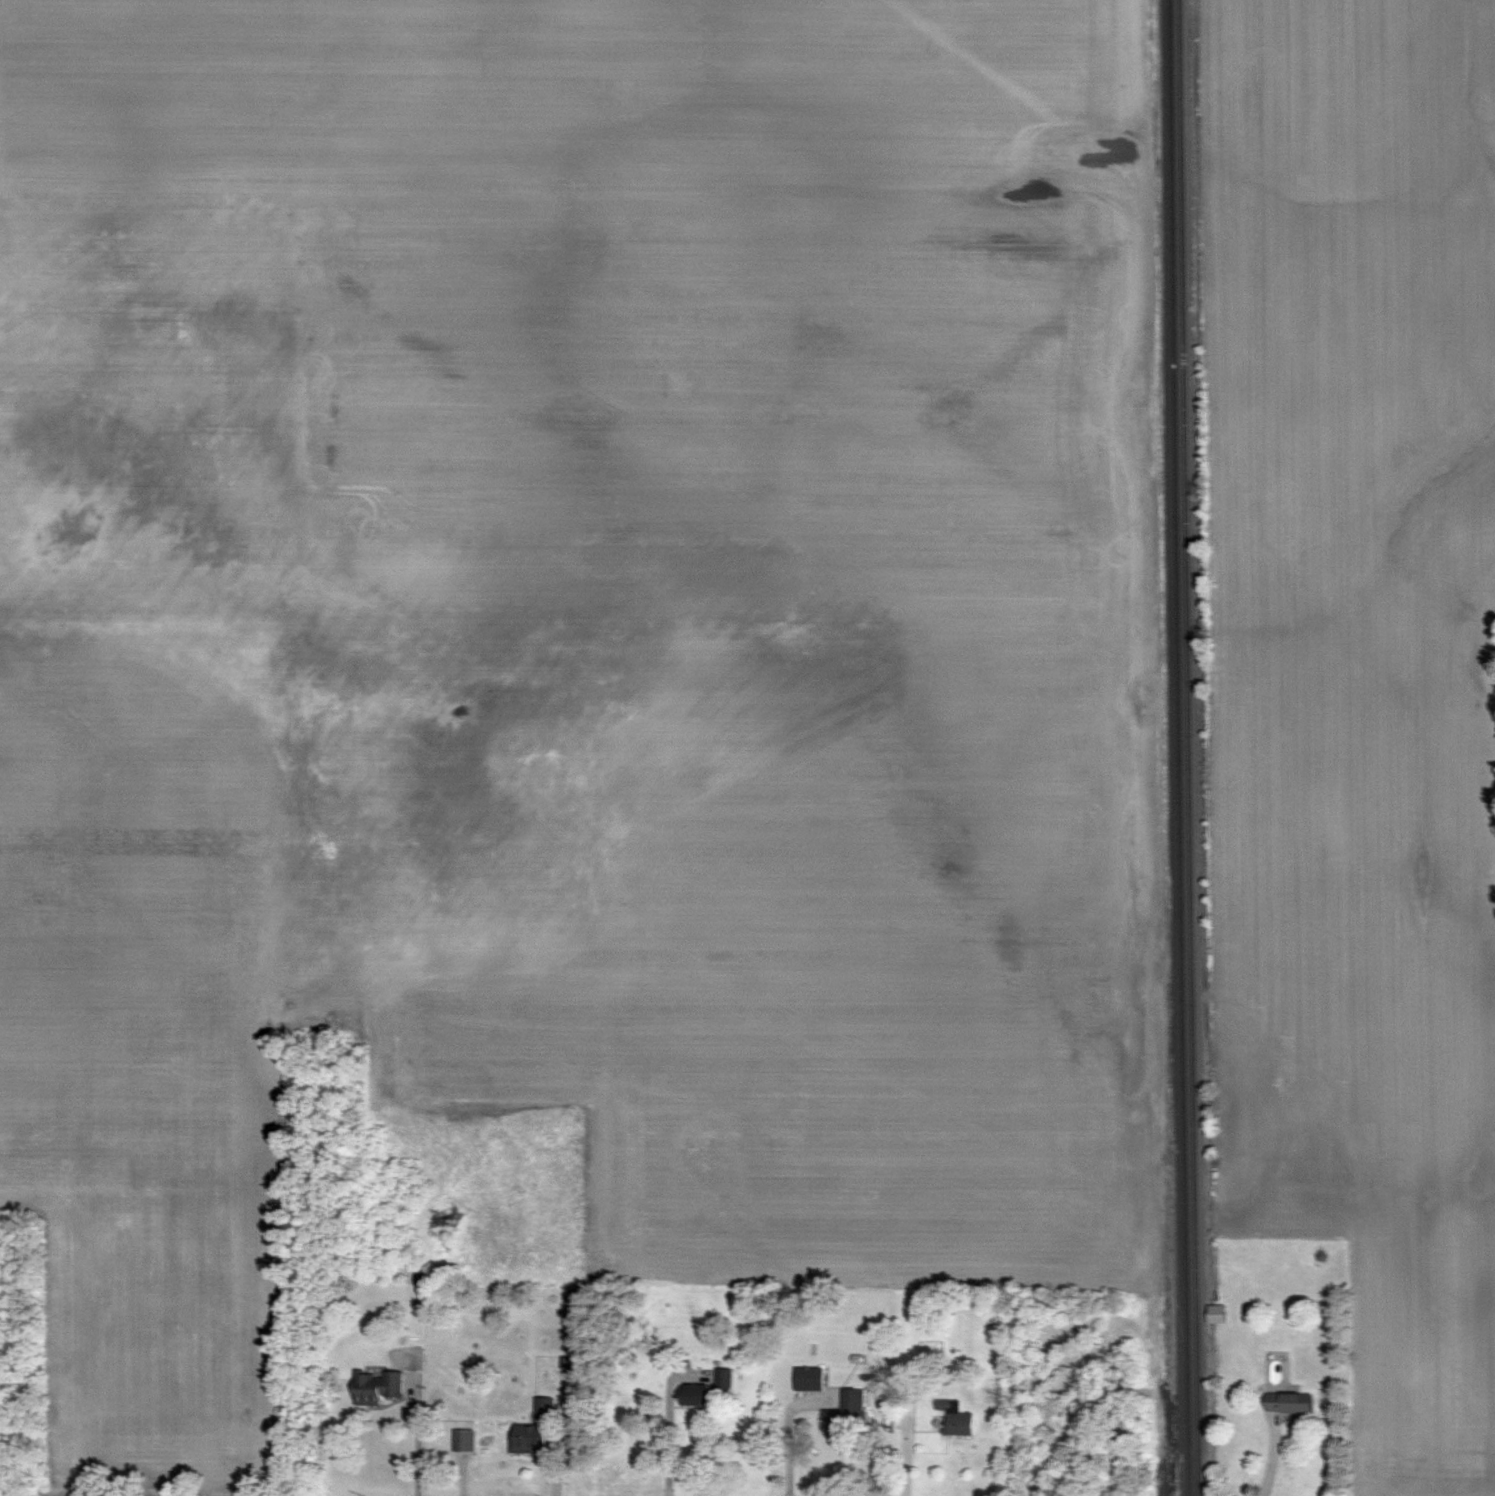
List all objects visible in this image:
railway: (1179, 748)
railway: (1189, 748)
building: (1215, 1313)
building: (809, 1380)
building: (376, 1386)
building: (708, 1390)
building: (1288, 1404)
building: (847, 1415)
building: (957, 1418)
road: (670, 1422)
building: (533, 1430)
road: (788, 1434)
road: (418, 1439)
building: (464, 1440)
road: (1271, 1454)

